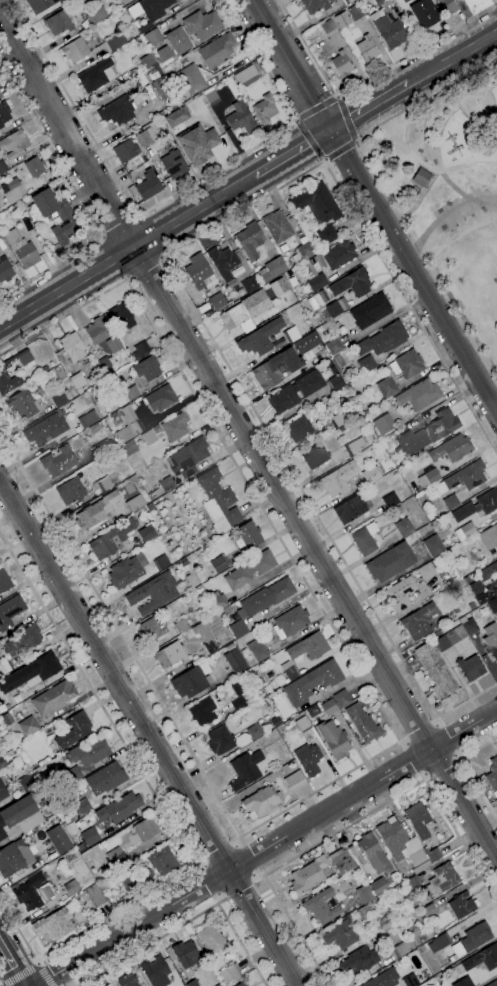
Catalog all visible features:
building: (348, 1)
building: (378, 2)
building: (85, 3)
road: (495, 3)
building: (40, 5)
building: (315, 5)
building: (476, 5)
building: (446, 6)
building: (149, 11)
building: (356, 12)
building: (425, 13)
building: (97, 16)
building: (343, 20)
building: (60, 21)
building: (202, 24)
building: (328, 28)
building: (389, 29)
building: (153, 36)
building: (179, 41)
building: (115, 42)
building: (367, 49)
building: (75, 50)
building: (217, 51)
road: (453, 57)
building: (147, 60)
road: (292, 64)
building: (342, 64)
building: (97, 75)
building: (247, 76)
building: (191, 79)
road: (369, 79)
building: (162, 87)
building: (211, 96)
road: (336, 96)
flagpole: (477, 103)
road: (369, 106)
road: (316, 107)
building: (265, 108)
building: (118, 110)
building: (4, 113)
road: (482, 115)
building: (176, 116)
building: (240, 117)
road: (346, 118)
road: (432, 118)
road: (296, 120)
traffic signals: (331, 130)
building: (145, 137)
road: (309, 139)
road: (356, 142)
building: (14, 144)
building: (197, 144)
road: (366, 146)
building: (126, 150)
road: (340, 150)
road: (293, 152)
road: (324, 159)
street lamp: (424, 159)
building: (174, 164)
building: (2, 167)
building: (35, 167)
building: (422, 177)
road: (433, 177)
building: (148, 185)
road: (455, 188)
building: (13, 190)
road: (383, 191)
park: (449, 193)
road: (169, 197)
road: (81, 201)
building: (316, 203)
road: (452, 214)
building: (2, 215)
building: (65, 217)
street lamp: (463, 219)
road: (119, 226)
building: (277, 226)
building: (327, 235)
building: (251, 241)
building: (22, 249)
road: (127, 251)
building: (303, 252)
building: (339, 254)
road: (161, 257)
building: (223, 261)
road: (143, 266)
building: (273, 269)
road: (415, 269)
building: (5, 270)
building: (200, 273)
road: (126, 277)
building: (313, 278)
building: (352, 283)
building: (250, 284)
building: (279, 287)
road: (184, 292)
building: (217, 301)
building: (324, 307)
building: (246, 311)
building: (371, 311)
building: (122, 317)
building: (291, 334)
building: (103, 335)
building: (260, 338)
building: (383, 339)
building: (306, 342)
building: (72, 346)
building: (334, 346)
building: (141, 349)
building: (338, 361)
building: (367, 363)
building: (328, 364)
building: (407, 364)
building: (105, 366)
building: (147, 368)
building: (276, 368)
building: (334, 370)
building: (3, 372)
building: (60, 373)
building: (77, 380)
building: (337, 382)
building: (387, 387)
building: (296, 391)
building: (131, 393)
building: (419, 394)
building: (60, 398)
building: (161, 398)
building: (24, 405)
building: (89, 419)
building: (339, 419)
building: (129, 424)
building: (384, 424)
building: (97, 426)
building: (176, 426)
building: (300, 428)
building: (46, 430)
building: (429, 433)
building: (148, 437)
road: (247, 439)
building: (354, 447)
building: (101, 448)
building: (452, 449)
building: (314, 455)
building: (188, 458)
building: (59, 461)
building: (400, 469)
building: (372, 474)
building: (429, 478)
building: (463, 478)
building: (338, 479)
building: (104, 484)
building: (167, 484)
building: (71, 491)
building: (391, 500)
building: (219, 502)
building: (451, 502)
building: (136, 503)
building: (477, 505)
building: (149, 506)
building: (350, 509)
building: (96, 511)
building: (398, 511)
building: (404, 527)
building: (465, 531)
building: (147, 533)
building: (250, 535)
building: (489, 537)
building: (365, 539)
building: (110, 540)
building: (434, 546)
building: (161, 562)
building: (184, 562)
building: (390, 562)
building: (218, 564)
building: (250, 569)
building: (428, 570)
building: (488, 571)
building: (125, 572)
building: (191, 580)
building: (4, 581)
building: (153, 593)
building: (487, 593)
building: (400, 594)
building: (267, 596)
building: (218, 601)
building: (492, 604)
building: (472, 605)
building: (10, 611)
building: (419, 621)
building: (291, 622)
building: (469, 625)
building: (182, 626)
building: (153, 629)
building: (238, 629)
building: (205, 638)
building: (451, 638)
building: (491, 639)
building: (22, 640)
building: (257, 649)
building: (171, 654)
building: (311, 657)
building: (234, 659)
building: (5, 666)
building: (470, 668)
building: (436, 671)
building: (31, 672)
building: (312, 682)
building: (189, 683)
building: (237, 686)
building: (54, 698)
building: (342, 699)
building: (239, 703)
building: (329, 707)
building: (203, 711)
building: (7, 719)
building: (276, 721)
building: (363, 723)
building: (303, 724)
building: (28, 726)
building: (74, 730)
road: (393, 730)
road: (418, 730)
road: (149, 733)
building: (231, 739)
building: (334, 739)
road: (450, 739)
building: (12, 751)
building: (90, 752)
building: (308, 759)
road: (410, 761)
building: (3, 764)
building: (245, 770)
road: (444, 770)
road: (469, 771)
building: (71, 776)
building: (493, 776)
building: (106, 779)
building: (295, 780)
building: (27, 783)
building: (3, 792)
building: (261, 801)
building: (82, 807)
building: (119, 808)
road: (163, 811)
building: (20, 816)
building: (418, 819)
road: (349, 824)
building: (144, 829)
building: (90, 836)
building: (59, 840)
building: (402, 846)
road: (218, 850)
road: (269, 850)
building: (373, 853)
building: (433, 854)
road: (253, 856)
building: (11, 858)
building: (115, 859)
building: (76, 861)
building: (162, 861)
building: (342, 861)
building: (310, 875)
building: (127, 880)
building: (441, 880)
building: (412, 883)
road: (206, 884)
building: (379, 887)
building: (72, 888)
road: (241, 889)
building: (43, 891)
building: (30, 892)
building: (365, 893)
building: (92, 895)
building: (461, 905)
building: (321, 906)
building: (429, 910)
road: (190, 921)
building: (54, 924)
building: (344, 937)
building: (212, 939)
building: (472, 939)
building: (439, 942)
building: (400, 950)
building: (187, 954)
building: (482, 958)
road: (15, 960)
building: (358, 961)
building: (156, 971)
road: (18, 973)
road: (44, 974)
building: (229, 975)
building: (383, 978)
building: (410, 980)
building: (126, 981)
building: (463, 982)
building: (193, 983)
building: (492, 983)
building: (242, 984)
building: (108, 985)
building: (218, 985)

